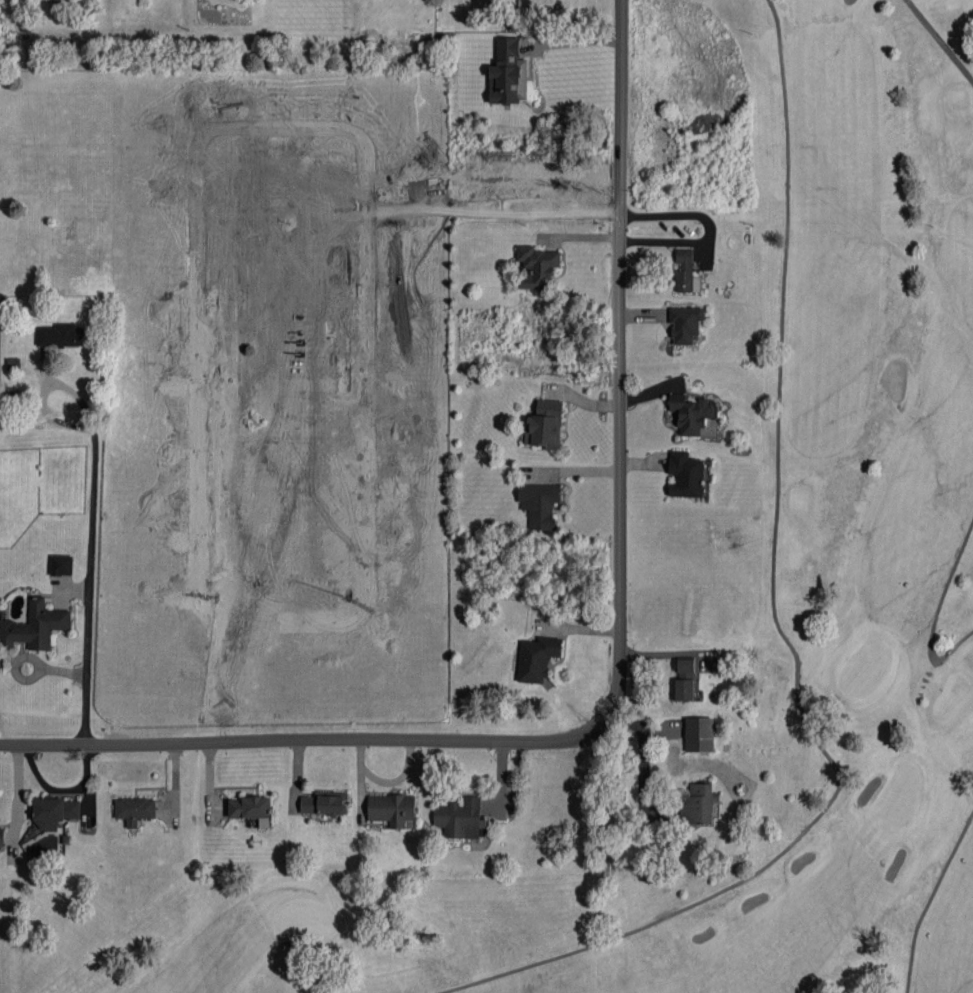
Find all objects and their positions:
building: (508, 73)
building: (536, 266)
building: (686, 271)
building: (685, 324)
building: (61, 335)
building: (690, 413)
building: (545, 425)
building: (686, 475)
building: (539, 505)
road: (92, 548)
building: (61, 565)
park: (732, 575)
building: (35, 626)
building: (537, 658)
road: (620, 665)
building: (684, 689)
building: (699, 734)
road: (646, 763)
park: (899, 795)
building: (324, 804)
building: (699, 804)
building: (135, 809)
building: (251, 809)
building: (392, 809)
building: (54, 812)
building: (459, 818)
building: (2, 836)
park: (304, 919)

